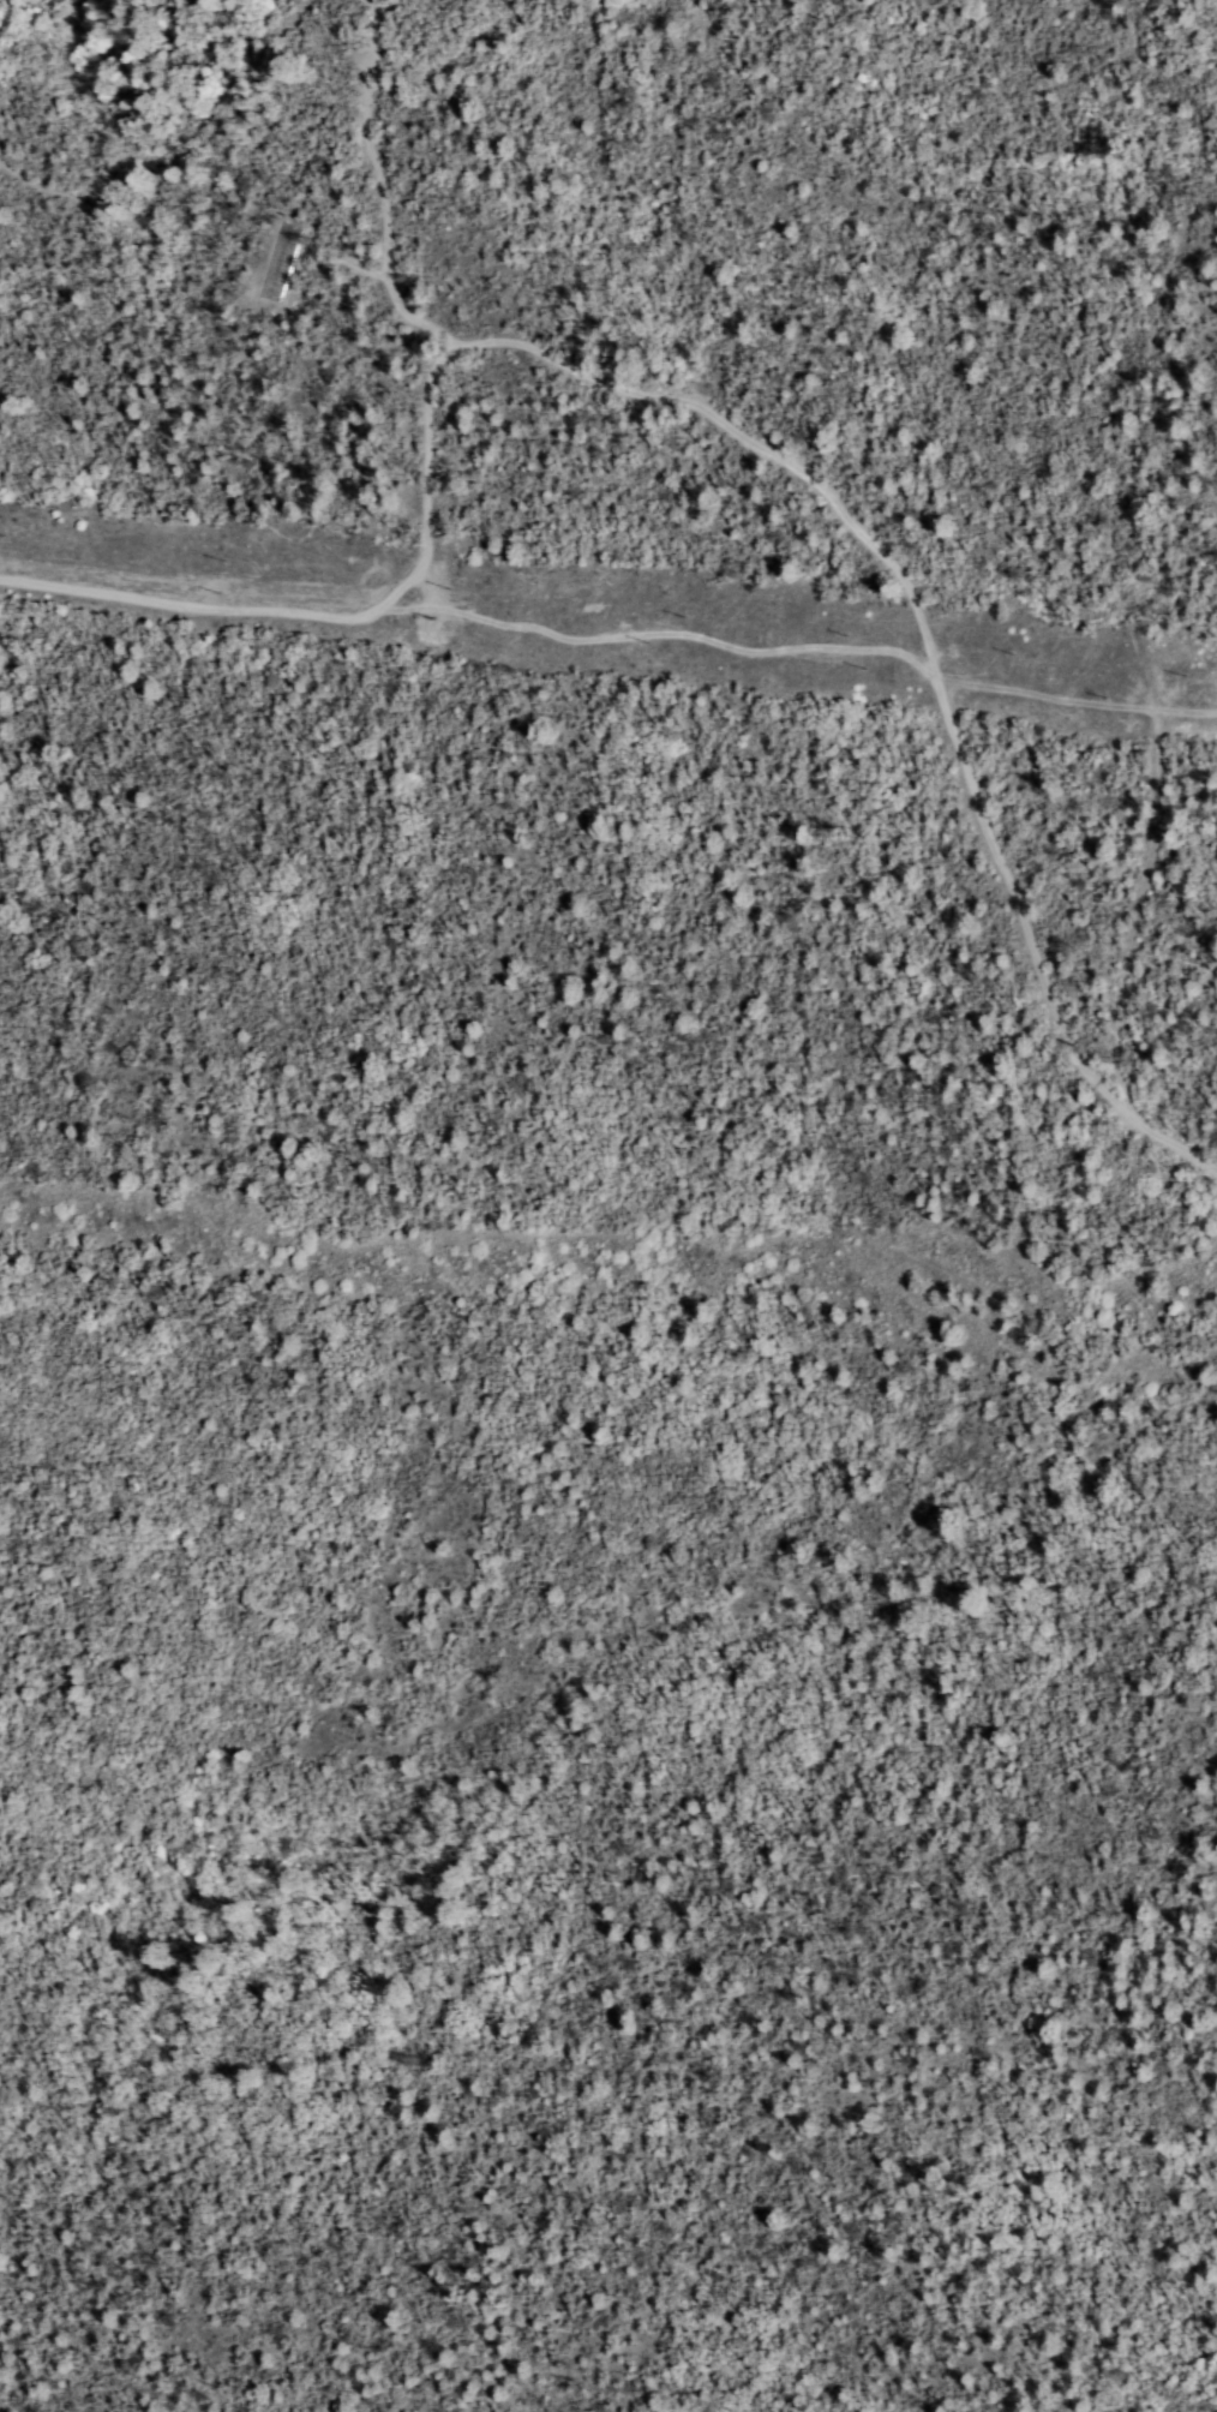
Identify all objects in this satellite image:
road: (717, 425)

